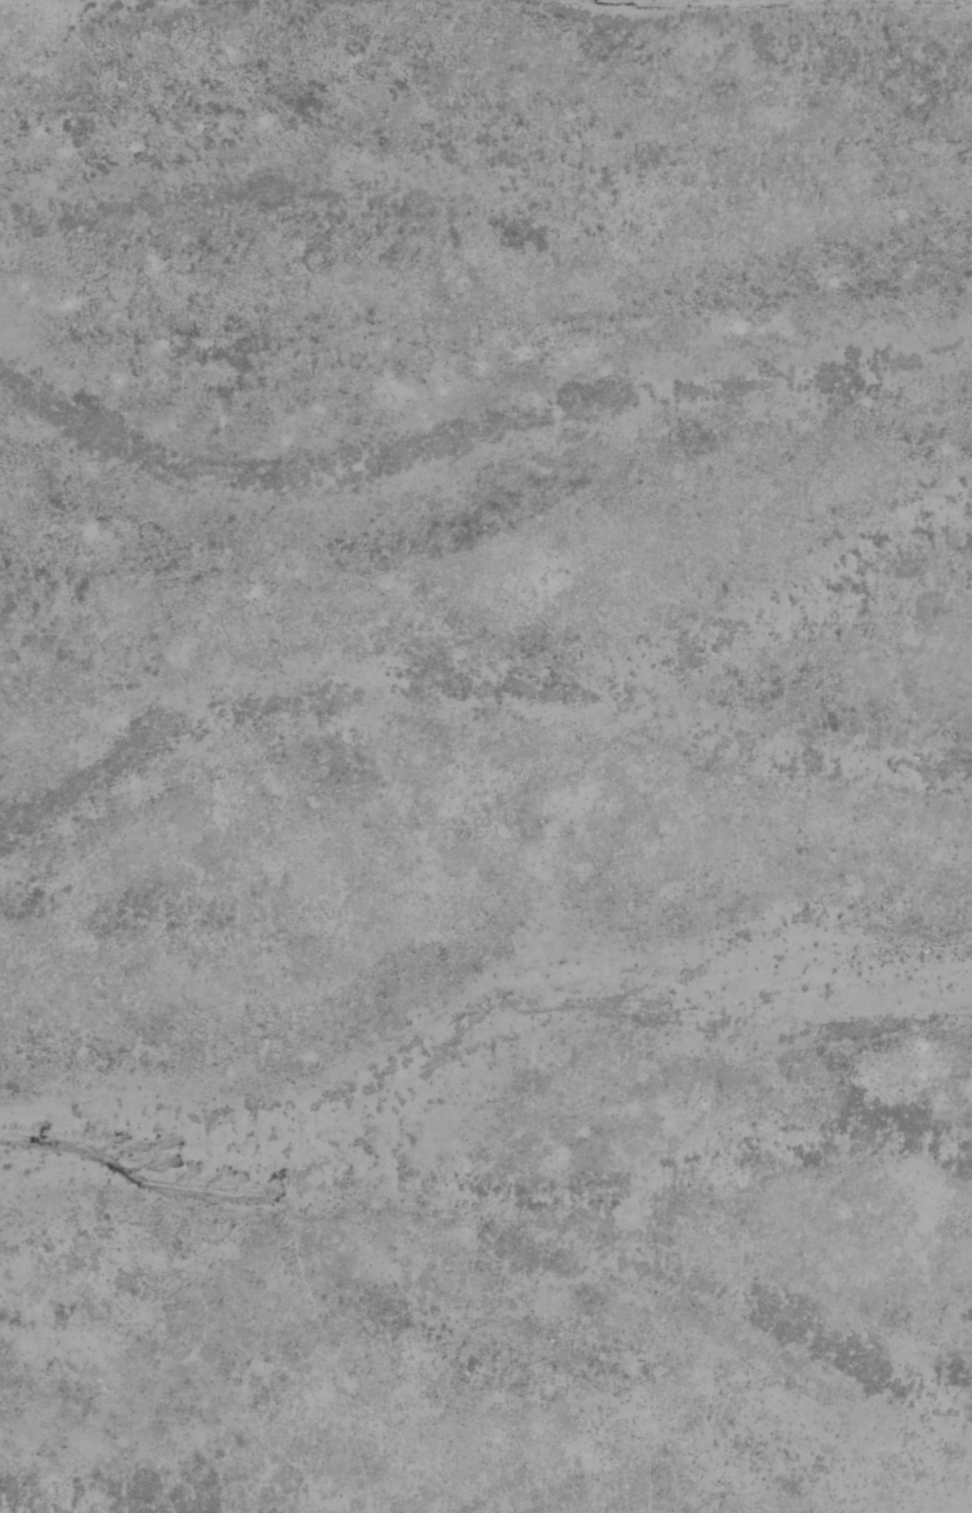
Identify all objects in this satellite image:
road: (859, 9)

